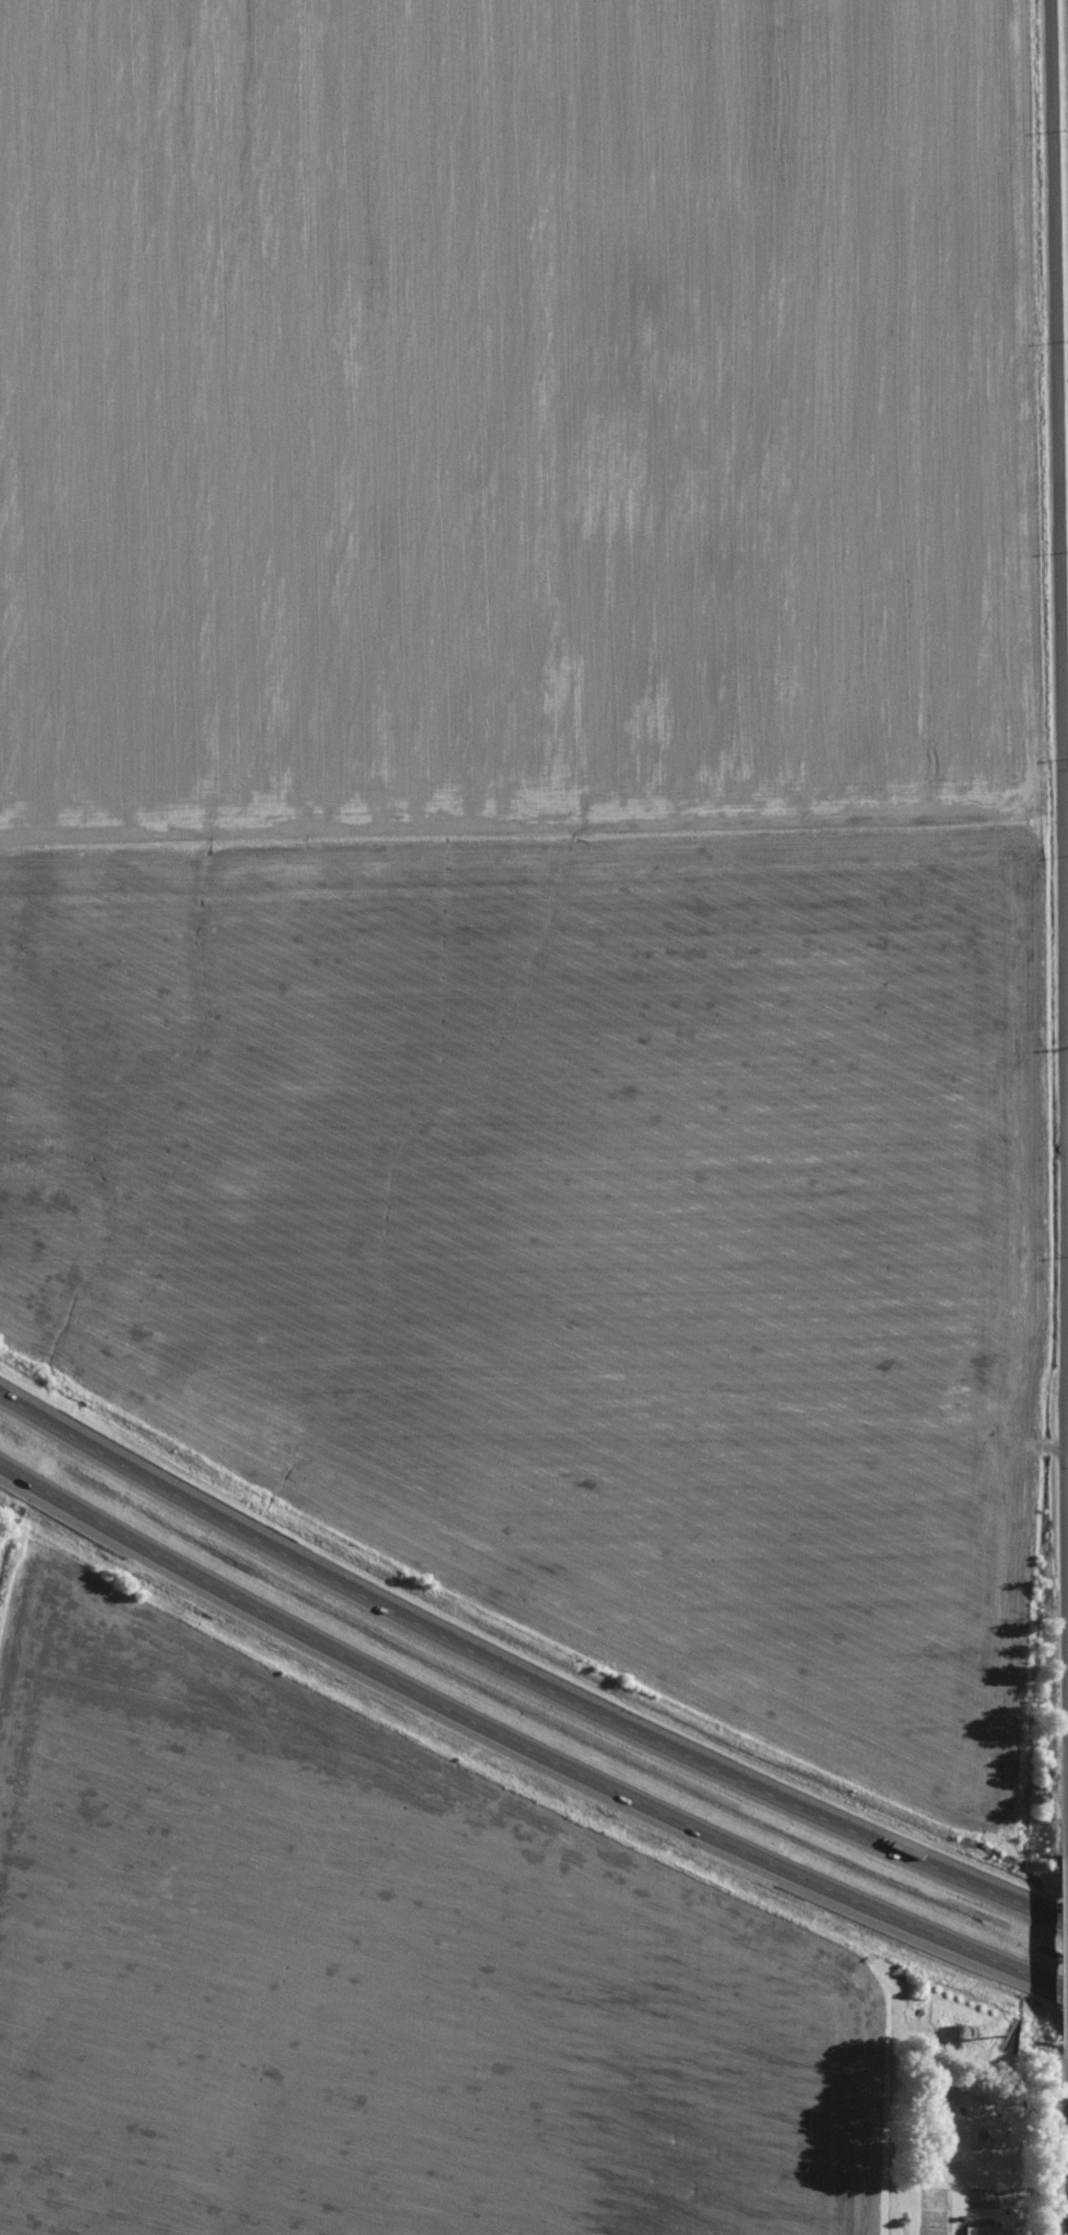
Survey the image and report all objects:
road: (1065, 820)
road: (1061, 854)
road: (523, 1673)
road: (525, 1749)
building: (985, 2231)

